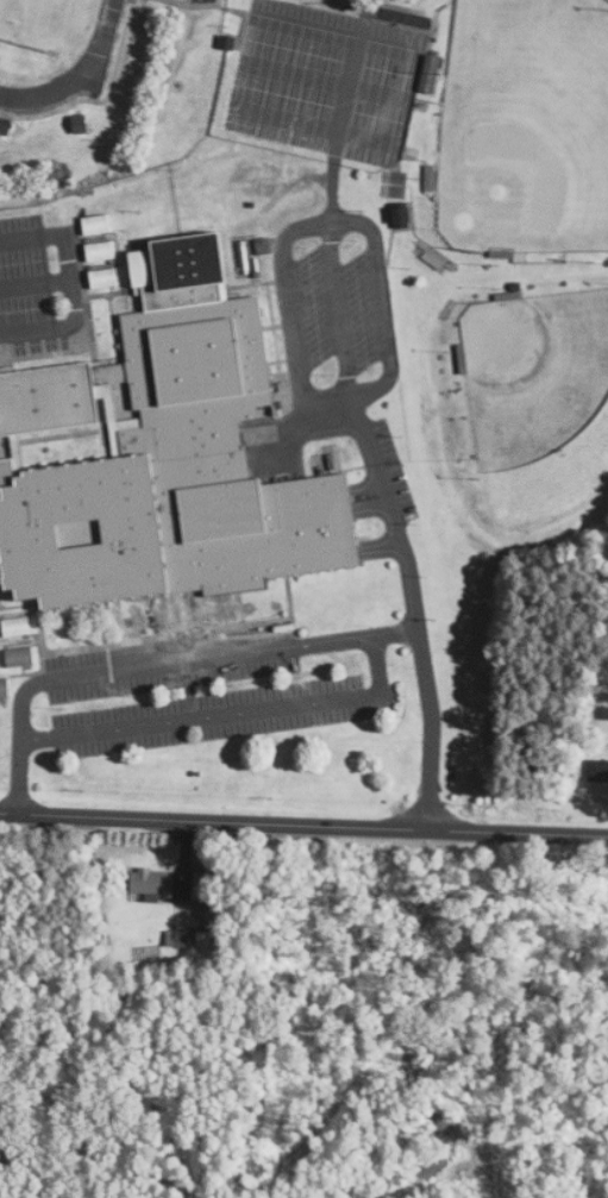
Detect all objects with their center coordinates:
park: (48, 17)
road: (334, 35)
track: (93, 52)
building: (432, 74)
road: (325, 81)
road: (345, 109)
building: (5, 126)
road: (313, 126)
park: (526, 130)
building: (405, 217)
building: (96, 225)
building: (100, 252)
building: (104, 278)
road: (35, 283)
road: (70, 286)
road: (289, 287)
road: (340, 314)
road: (384, 320)
park: (540, 401)
road: (334, 408)
road: (292, 426)
building: (162, 456)
road: (416, 614)
building: (17, 627)
road: (396, 633)
building: (20, 658)
road: (137, 669)
building: (5, 688)
road: (228, 714)
building: (598, 771)
road: (303, 827)
building: (151, 882)
building: (201, 887)
building: (193, 939)

